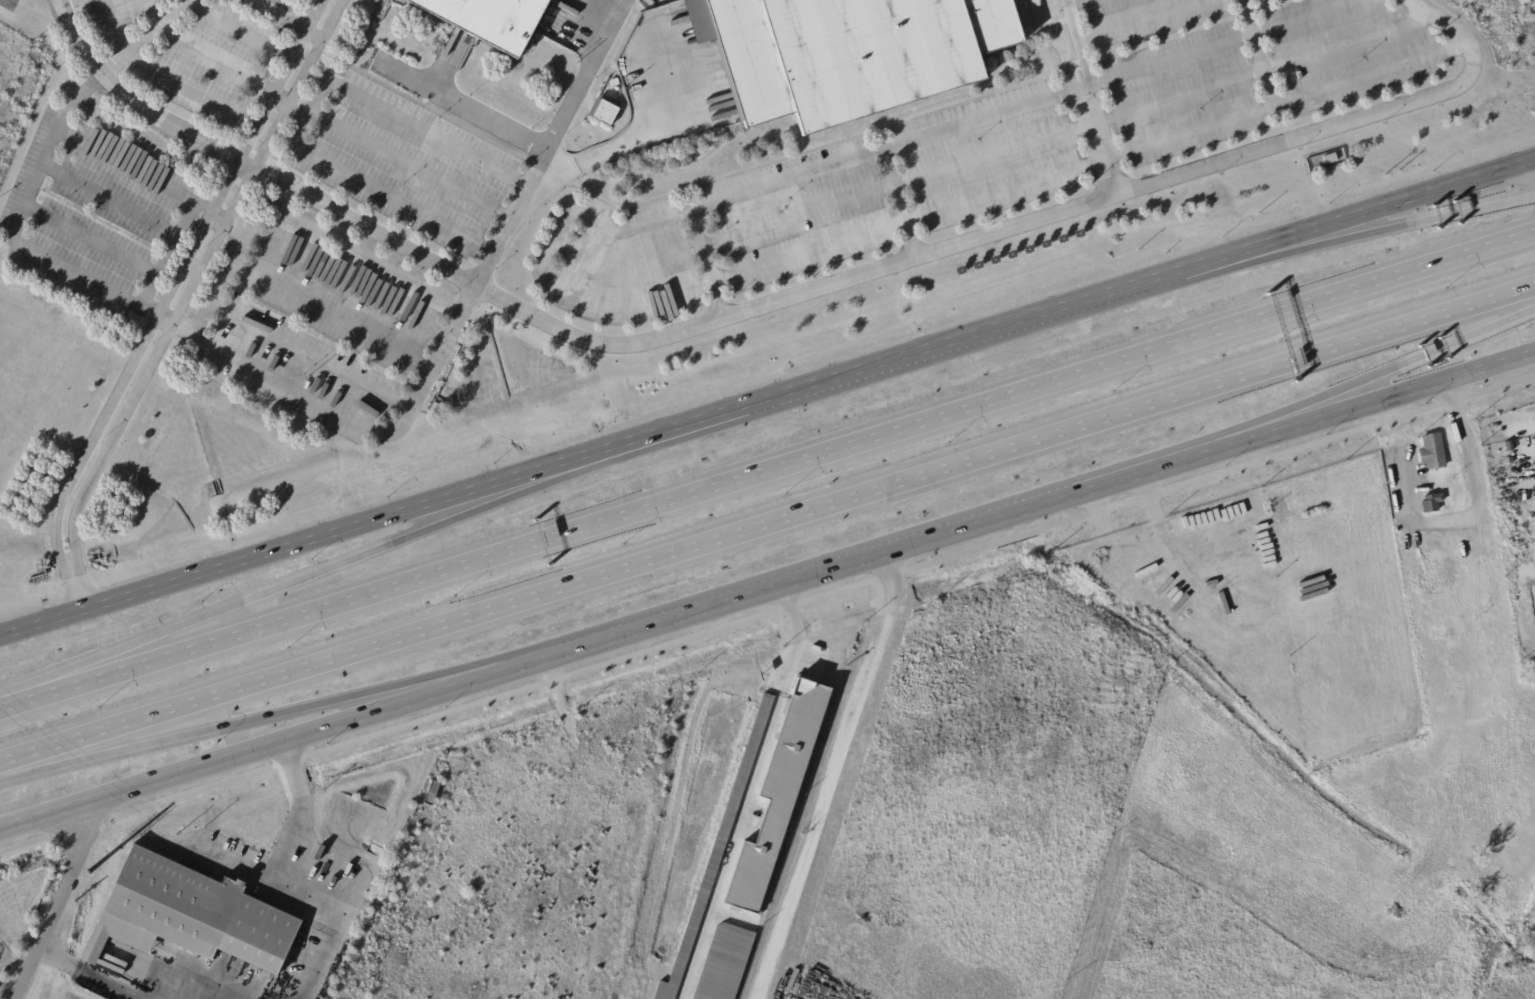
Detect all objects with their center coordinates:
road: (123, 1)
road: (1074, 3)
road: (296, 15)
building: (483, 19)
road: (1141, 21)
road: (191, 41)
road: (1219, 44)
road: (1255, 51)
building: (840, 53)
road: (1258, 67)
road: (1079, 88)
road: (283, 94)
road: (1284, 100)
road: (268, 105)
road: (308, 108)
road: (464, 108)
building: (604, 113)
road: (1345, 120)
road: (622, 144)
road: (401, 156)
building: (1331, 160)
road: (830, 162)
road: (898, 201)
road: (1360, 210)
road: (221, 214)
road: (1361, 234)
road: (807, 248)
road: (543, 267)
road: (340, 274)
road: (196, 281)
road: (716, 322)
road: (449, 336)
road: (905, 352)
road: (1368, 377)
road: (119, 387)
road: (1035, 388)
road: (1368, 401)
building: (1508, 438)
building: (1433, 452)
road: (1138, 473)
building: (1502, 482)
building: (1432, 503)
road: (1474, 511)
road: (767, 523)
building: (1520, 530)
road: (313, 538)
road: (314, 573)
road: (818, 574)
road: (77, 589)
building: (1533, 598)
road: (767, 610)
road: (267, 625)
road: (281, 711)
road: (281, 741)
road: (831, 777)
road: (748, 792)
building: (777, 792)
building: (717, 854)
road: (224, 857)
road: (281, 881)
road: (52, 900)
building: (165, 902)
building: (81, 932)
road: (10, 960)
road: (2, 961)
building: (725, 964)
road: (92, 974)

